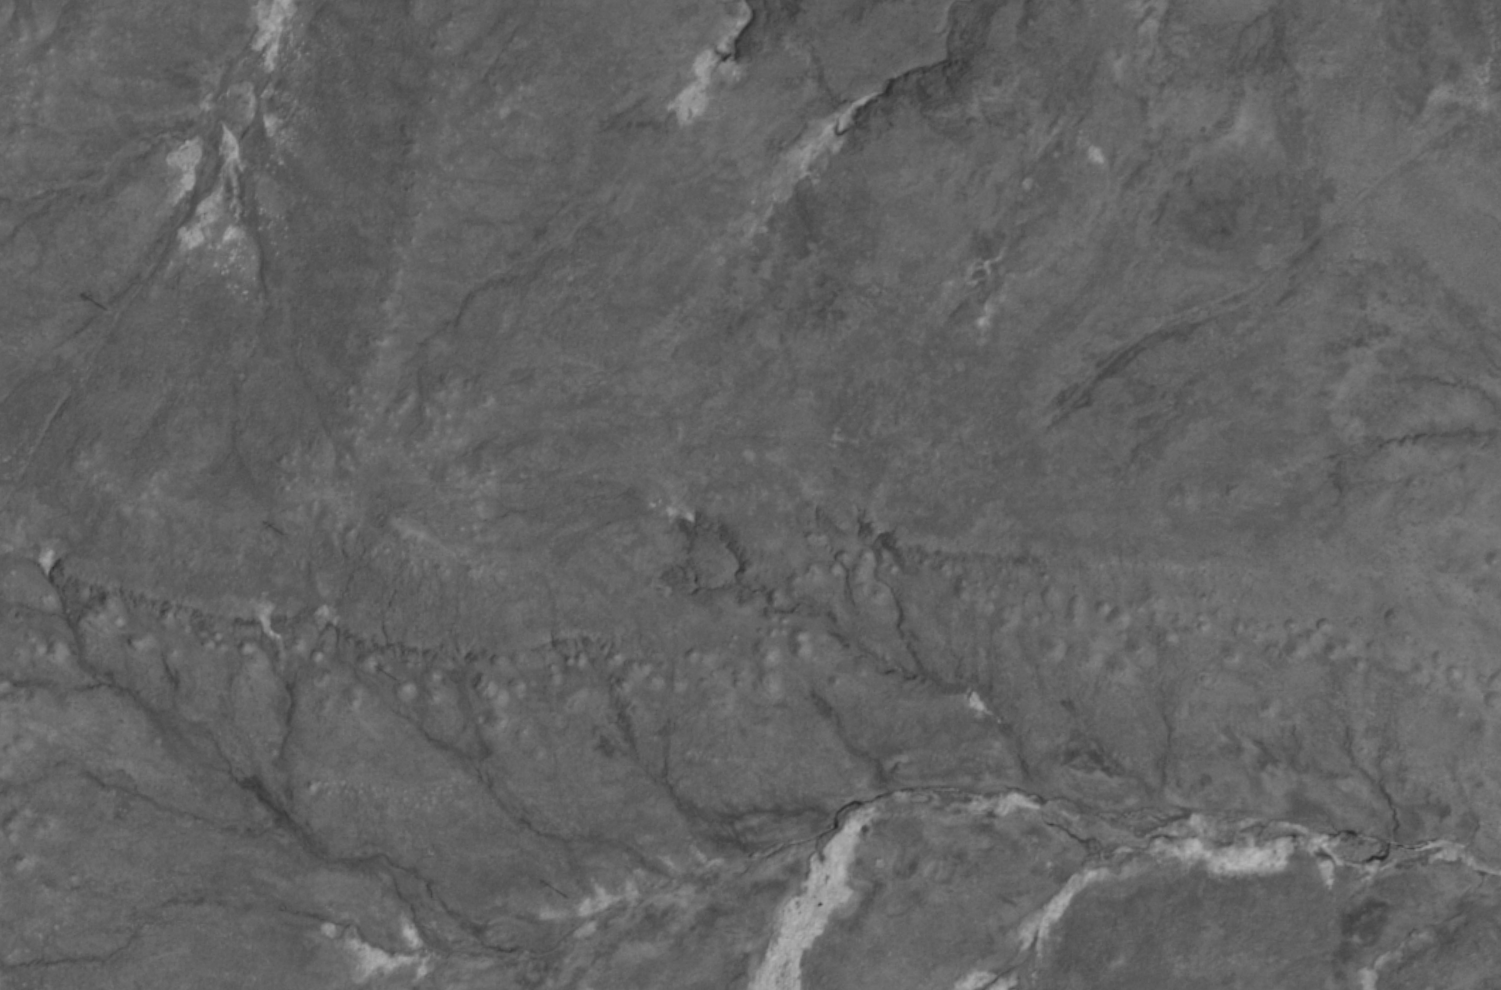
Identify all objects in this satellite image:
power tower: (115, 312)
power tower: (287, 539)
power tower: (404, 687)
power tower: (574, 900)

